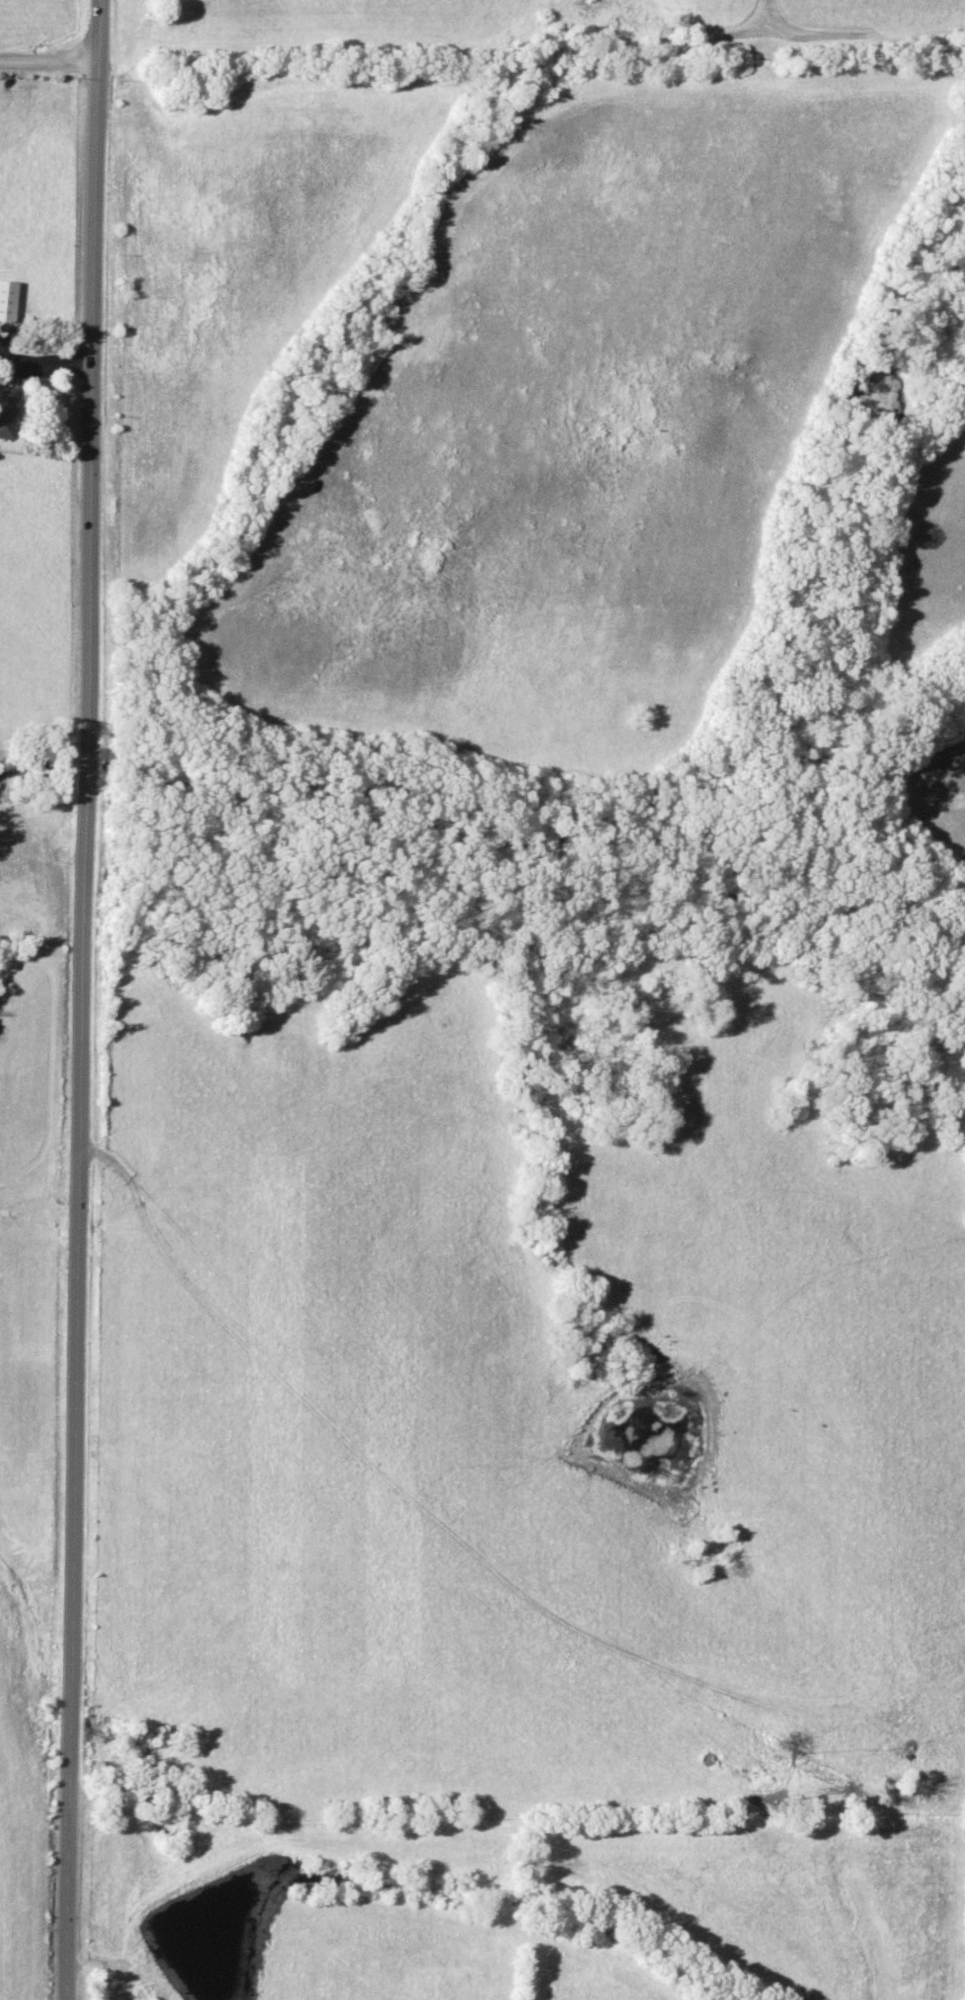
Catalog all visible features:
road: (48, 63)
building: (6, 299)
road: (44, 362)
building: (5, 411)
road: (73, 999)

